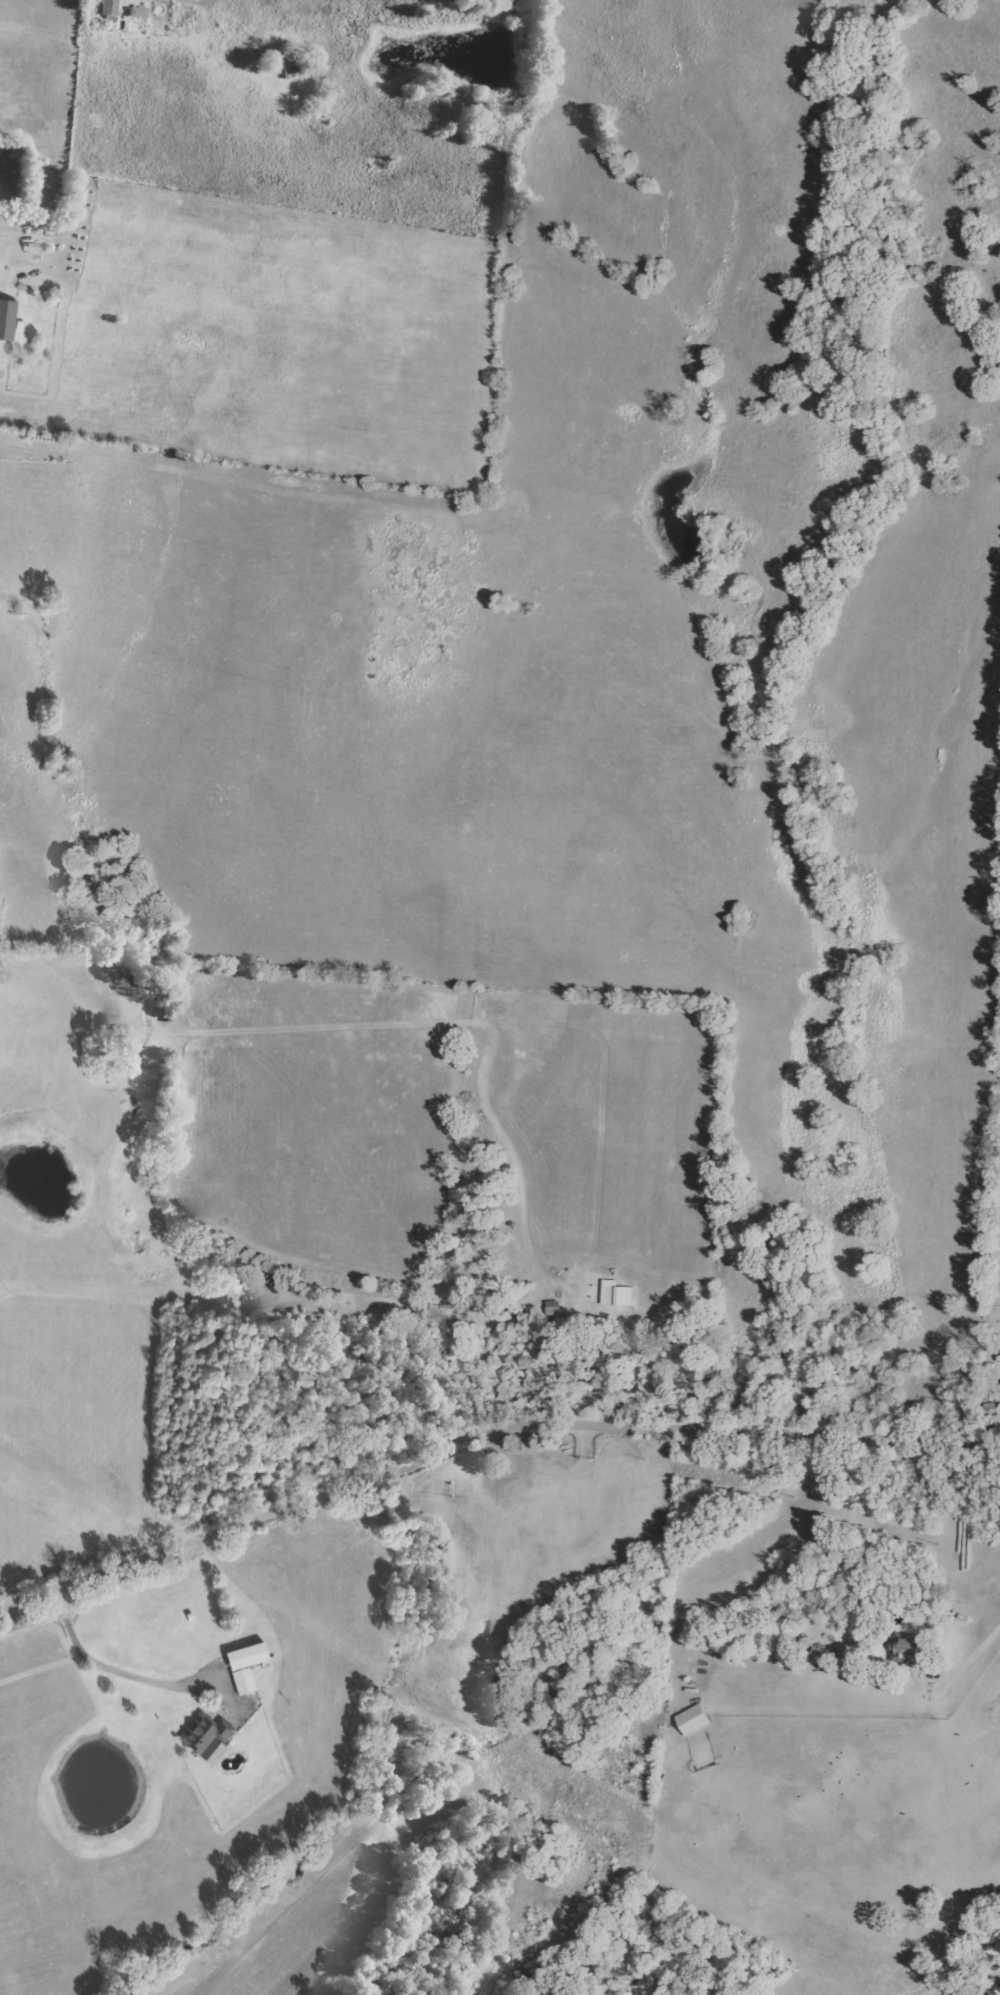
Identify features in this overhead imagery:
building: (136, 12)
building: (290, 71)
building: (8, 321)
building: (616, 1293)
road: (481, 1429)
road: (986, 1649)
building: (909, 1651)
building: (821, 1656)
building: (247, 1668)
road: (120, 1670)
building: (693, 1720)
building: (208, 1739)

